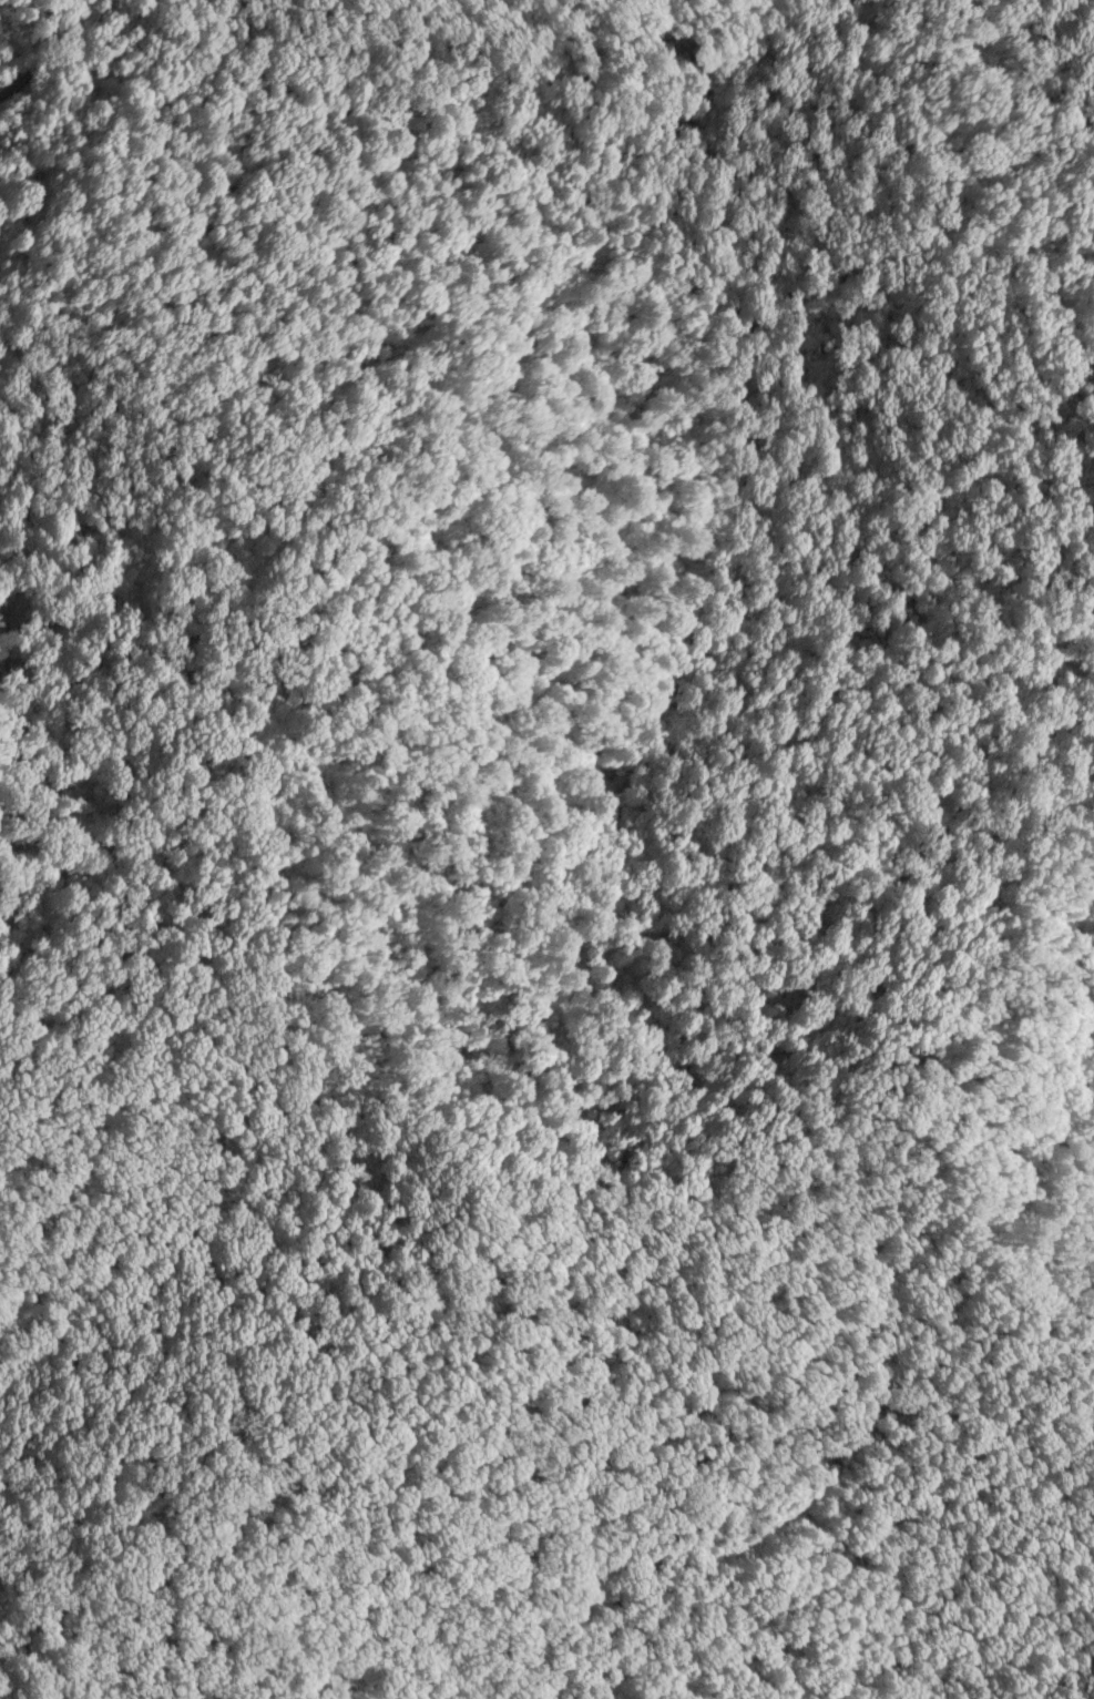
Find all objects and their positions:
road: (781, 1505)

